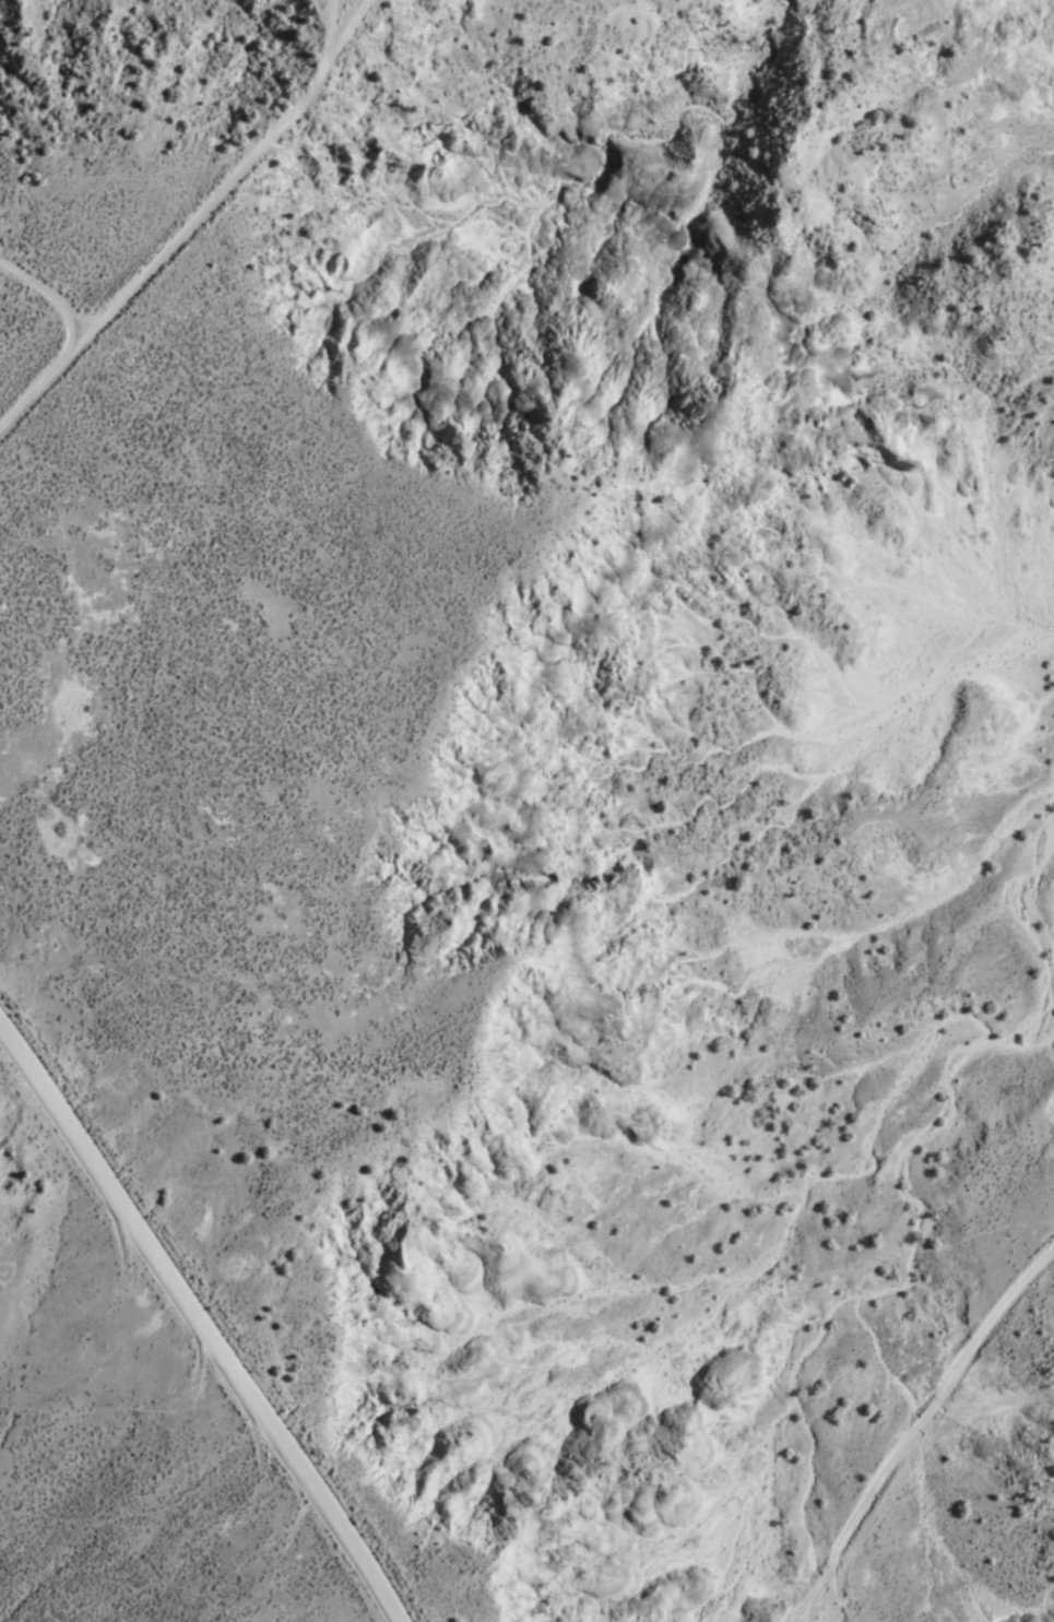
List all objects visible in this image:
road: (201, 1319)
road: (910, 1425)

